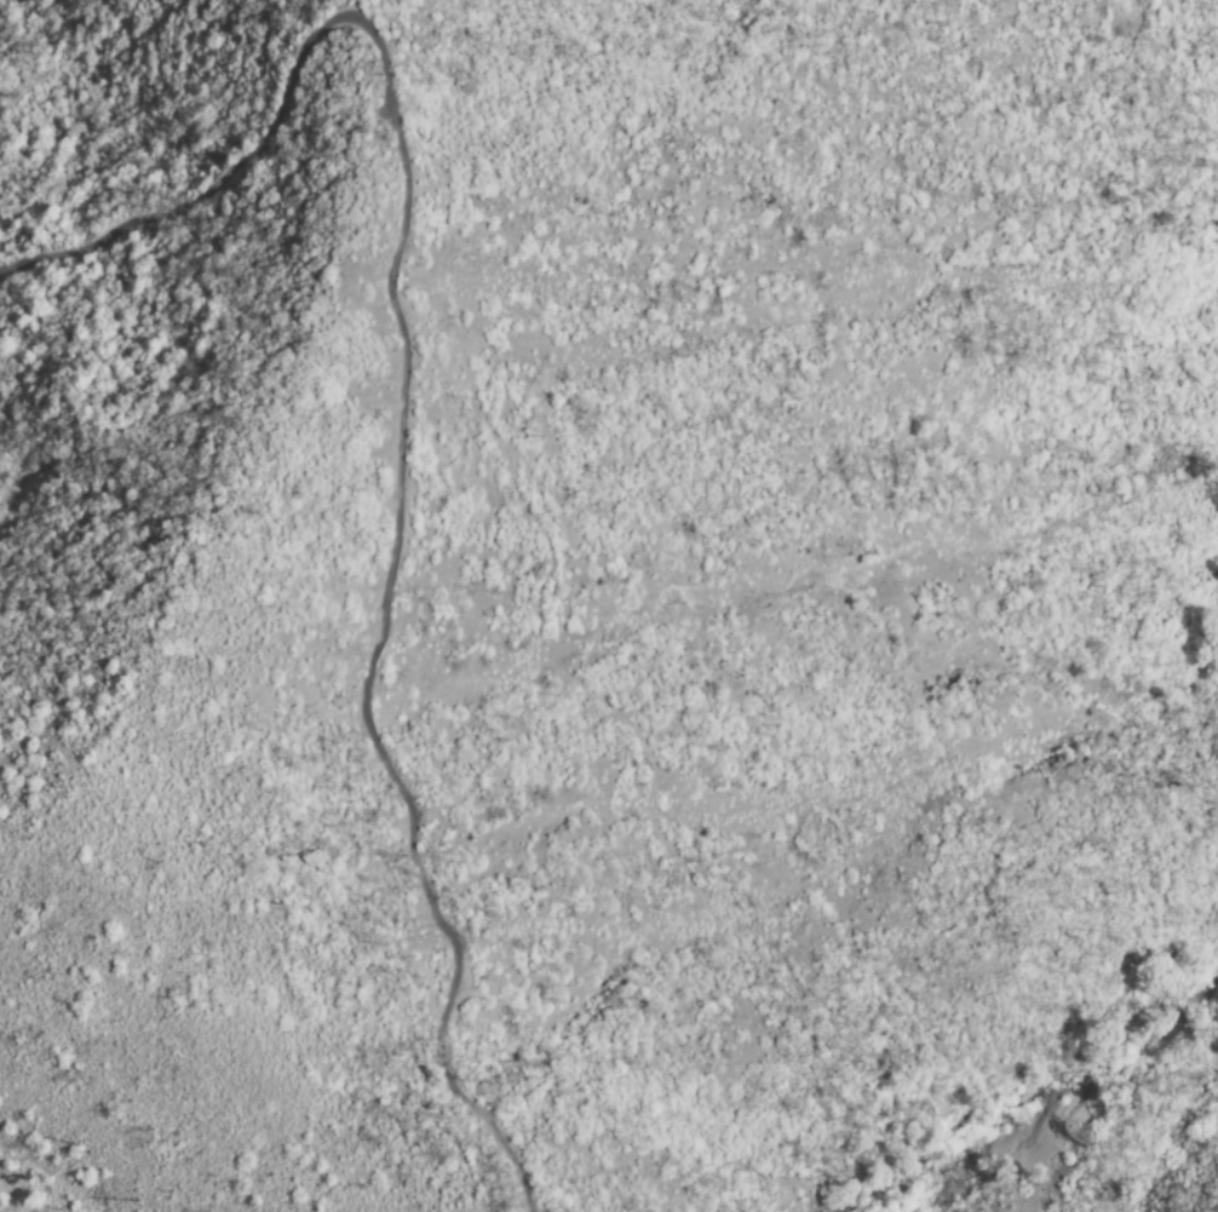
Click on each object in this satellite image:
road: (389, 312)
road: (499, 1144)

